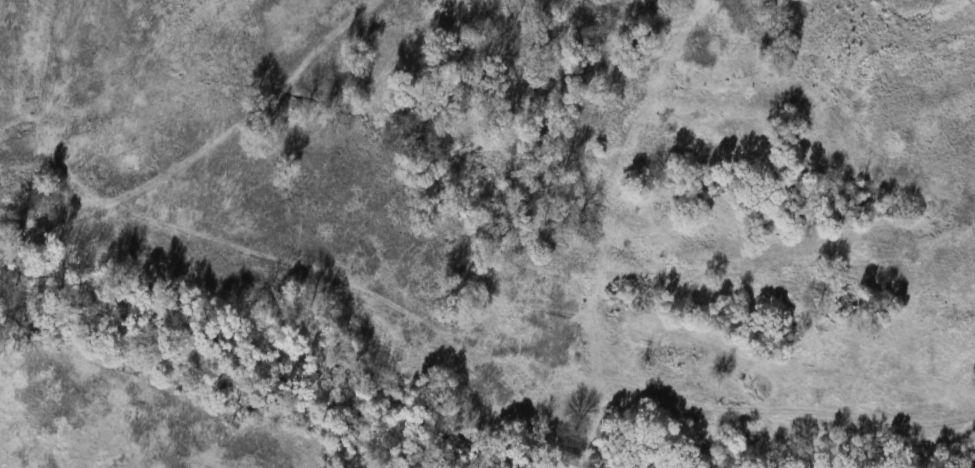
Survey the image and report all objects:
road: (203, 154)

